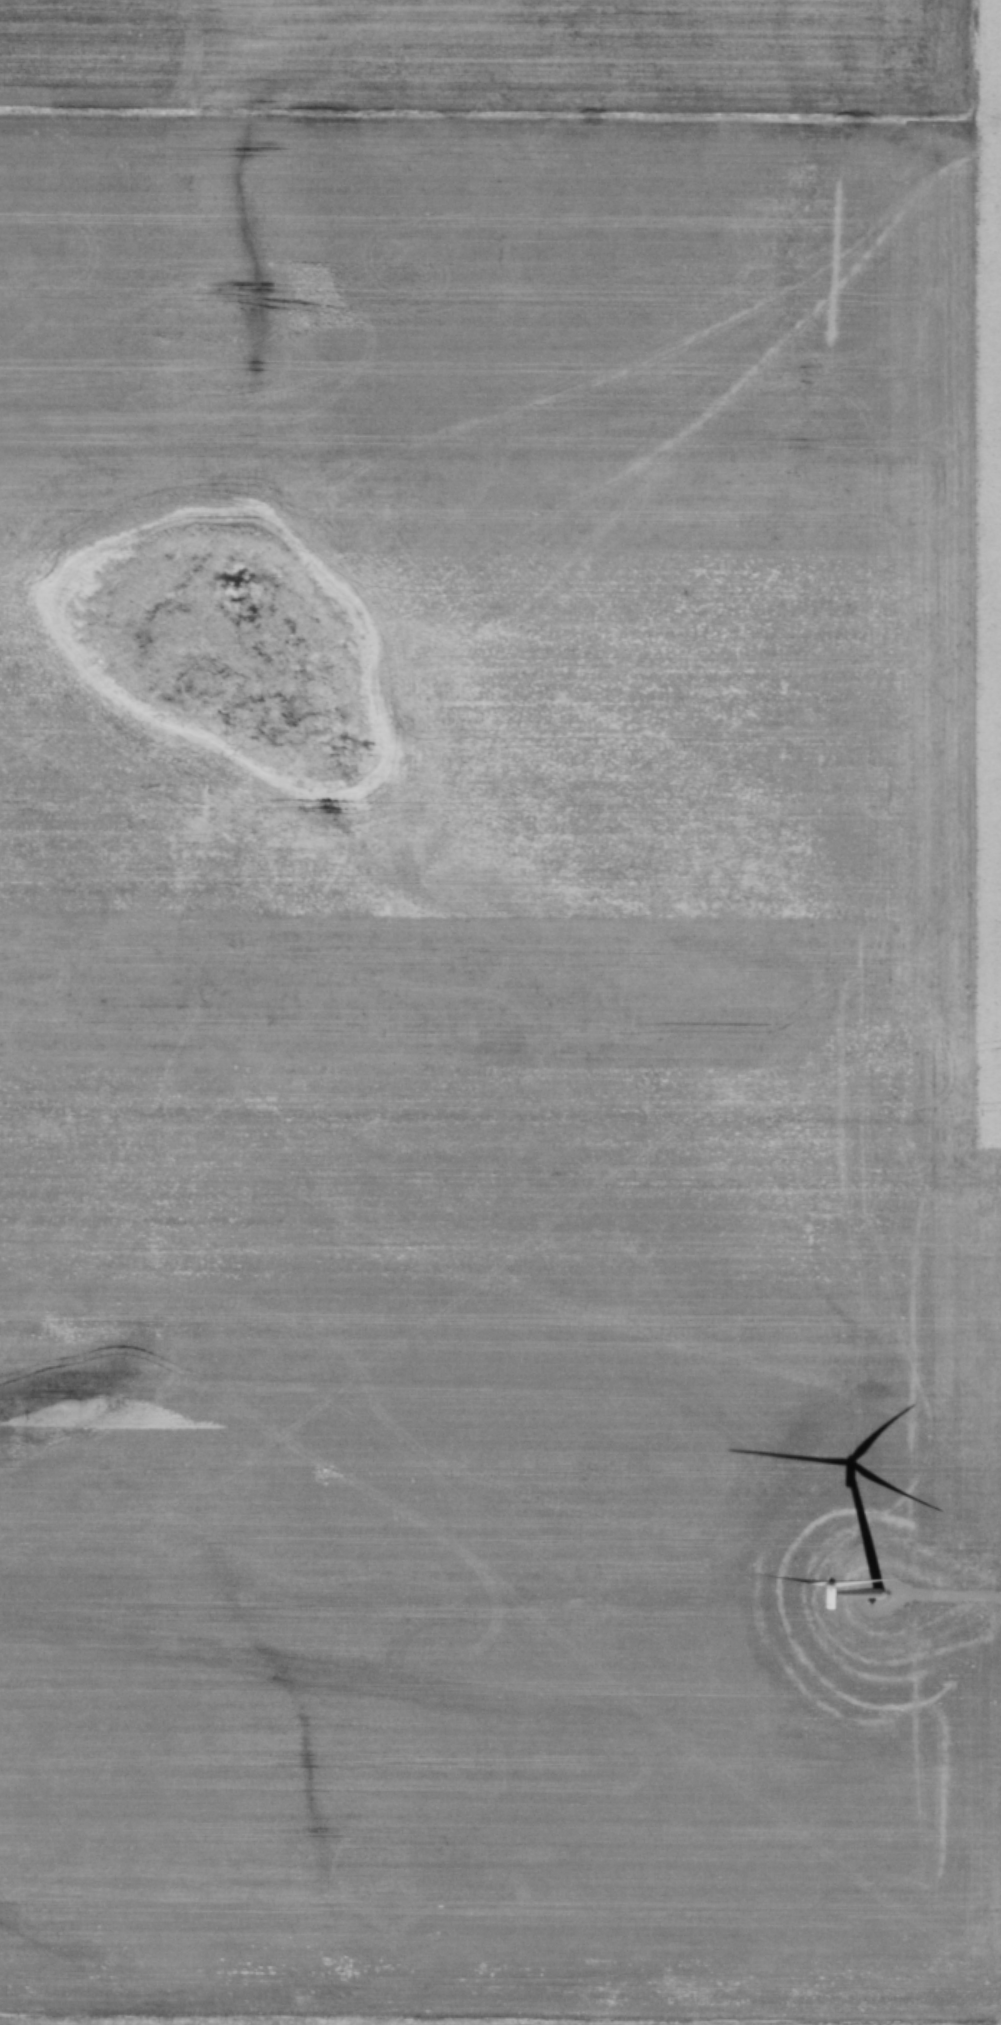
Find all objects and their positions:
wind turbine: (883, 1596)
road: (960, 1596)

